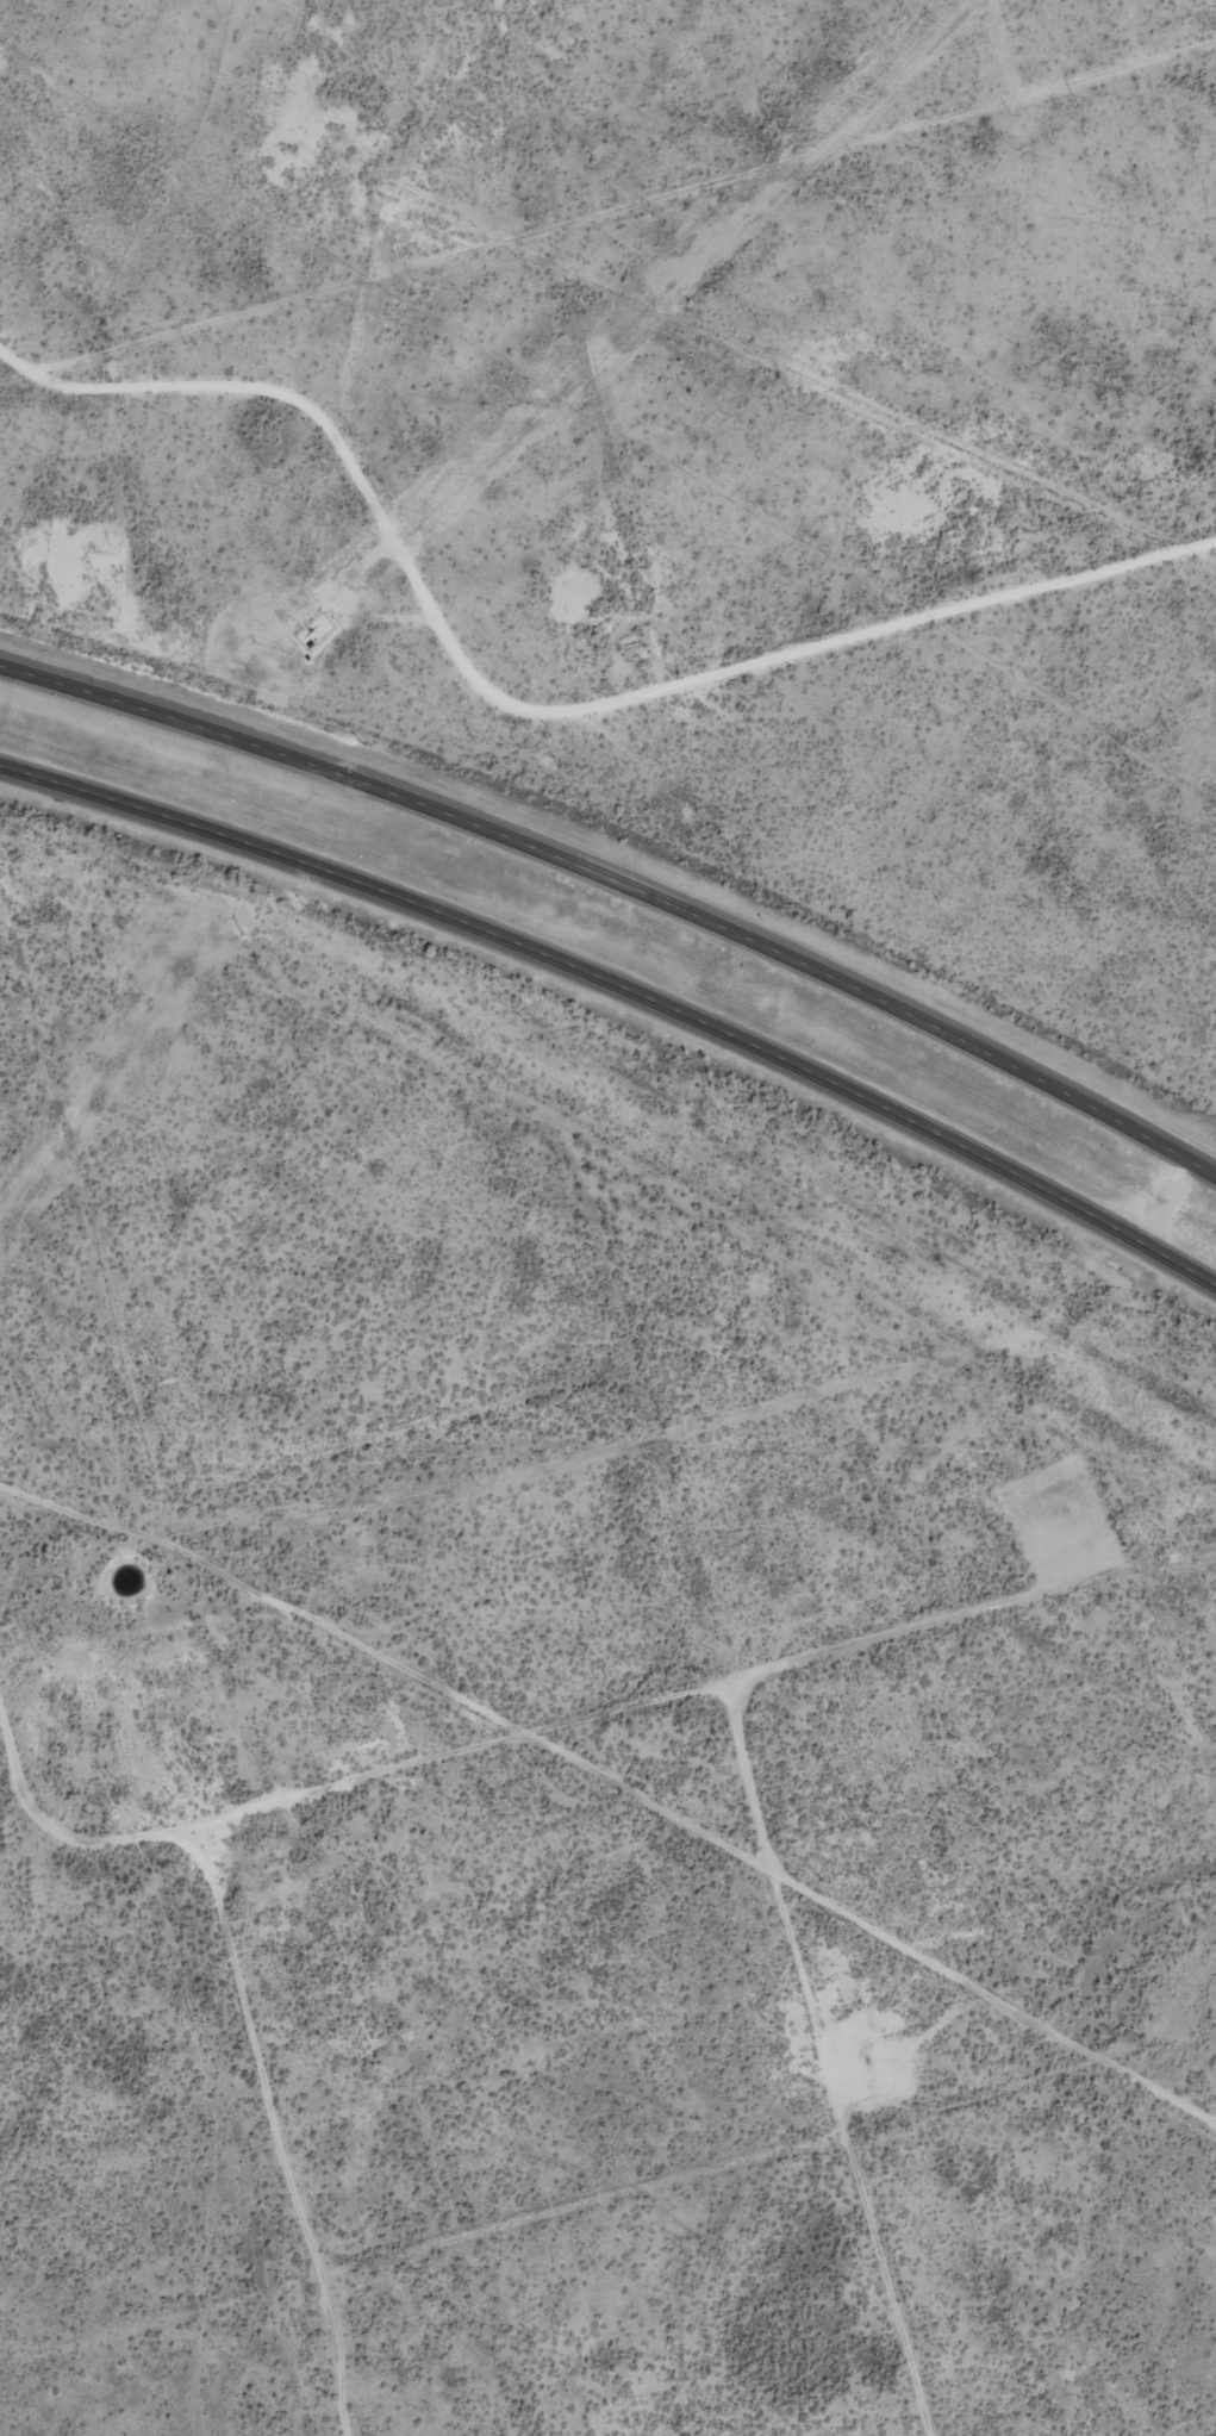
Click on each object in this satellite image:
road: (921, 637)
road: (622, 887)
road: (623, 986)

